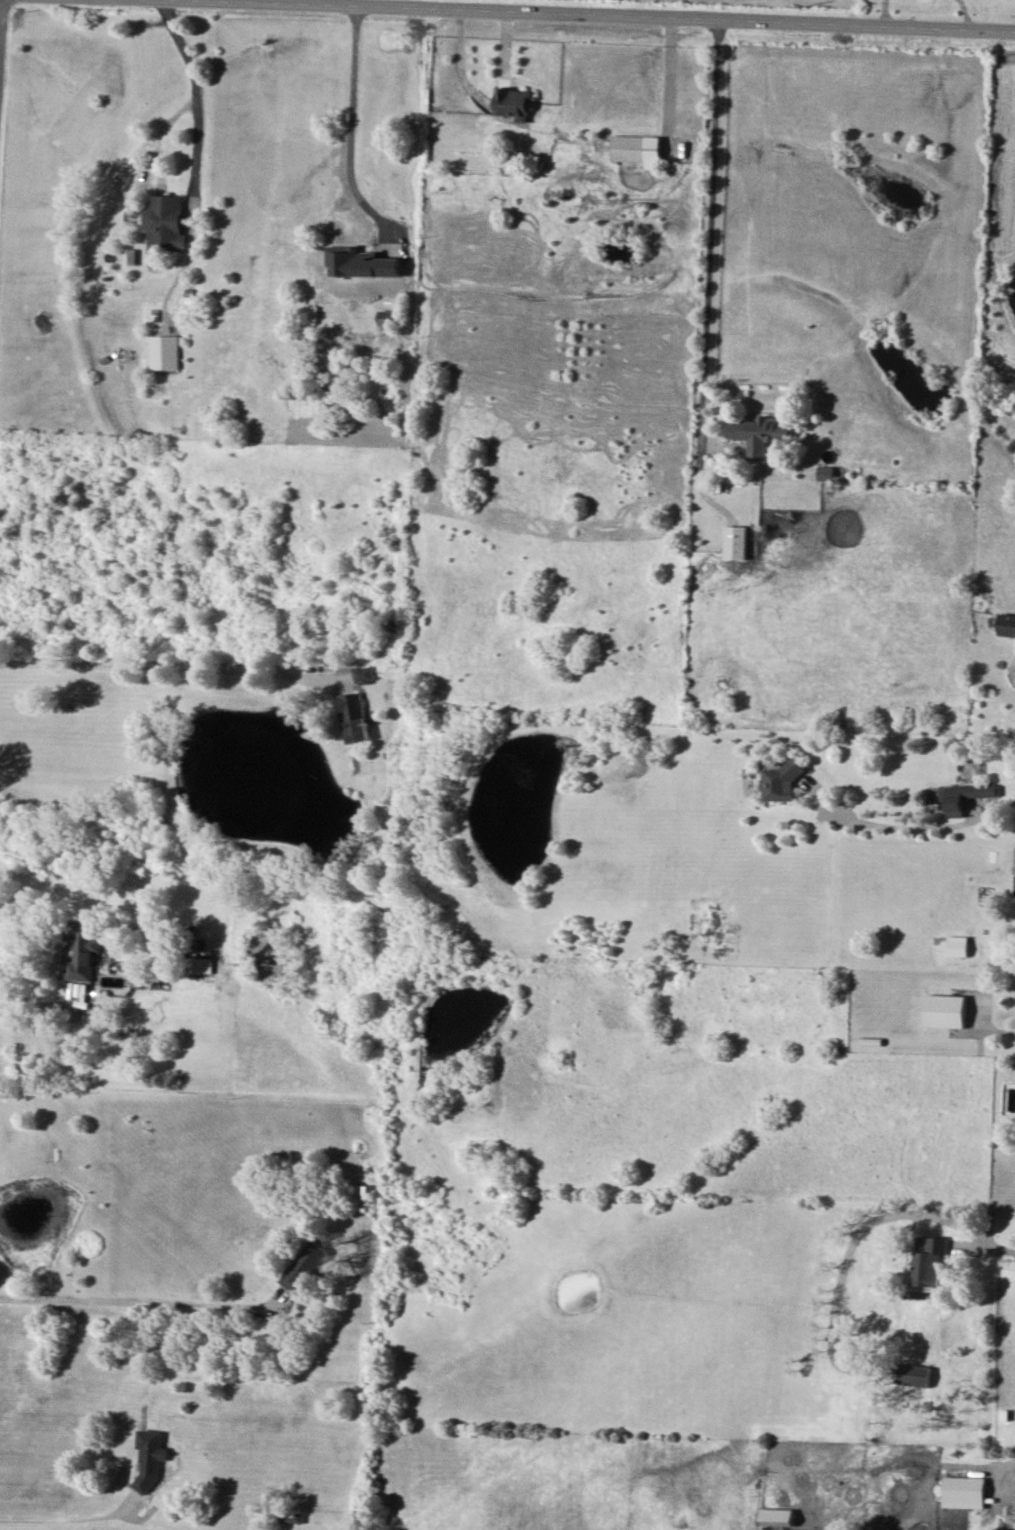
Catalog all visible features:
road: (602, 16)
road: (194, 92)
building: (516, 103)
road: (354, 121)
building: (637, 149)
building: (168, 223)
road: (711, 234)
building: (363, 263)
building: (165, 352)
building: (760, 433)
building: (737, 542)
building: (1007, 625)
road: (172, 667)
building: (362, 675)
building: (354, 717)
building: (785, 782)
building: (968, 797)
road: (916, 816)
road: (54, 942)
building: (958, 946)
building: (82, 951)
road: (42, 1009)
building: (945, 1010)
road: (856, 1233)
building: (931, 1260)
building: (306, 1266)
road: (136, 1297)
building: (915, 1375)
building: (150, 1457)
building: (965, 1492)
building: (776, 1514)
road: (62, 1522)

